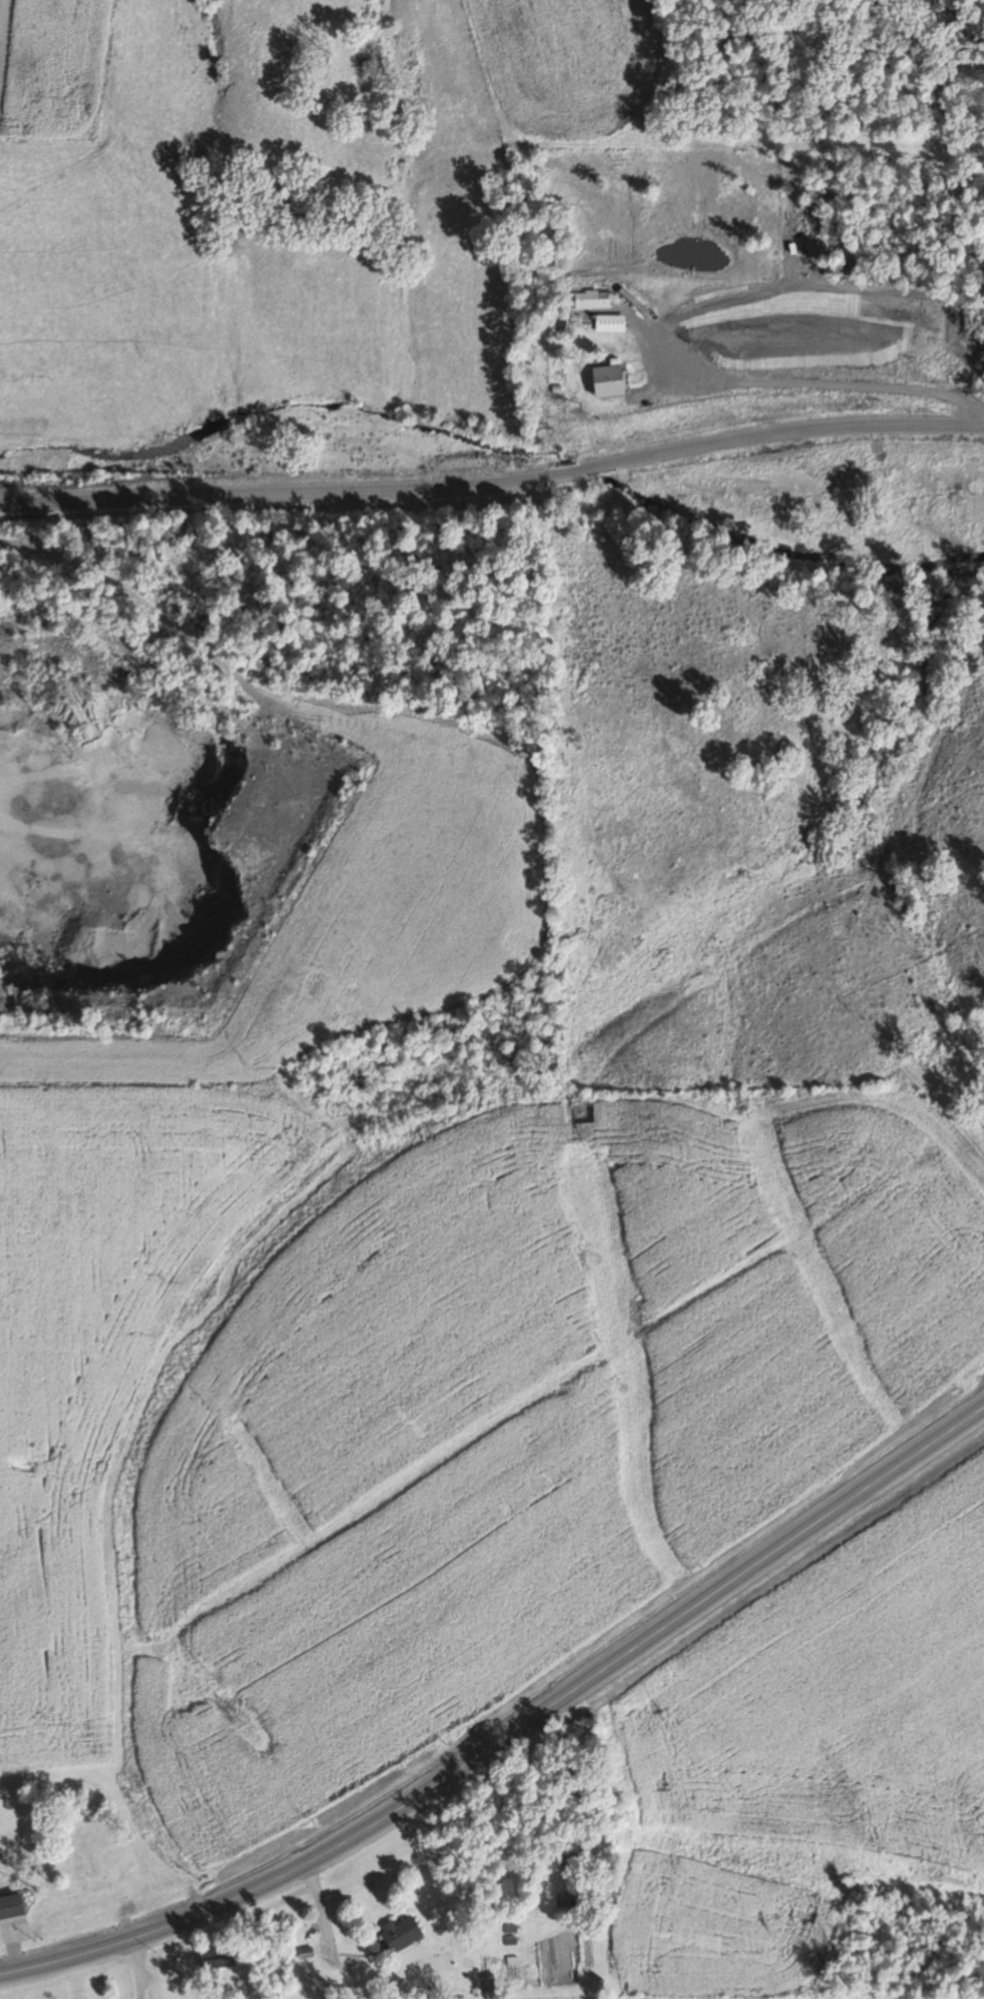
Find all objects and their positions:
building: (668, 284)
building: (604, 380)
road: (495, 475)
road: (512, 1729)
building: (9, 1908)
building: (397, 1933)
building: (214, 1957)

